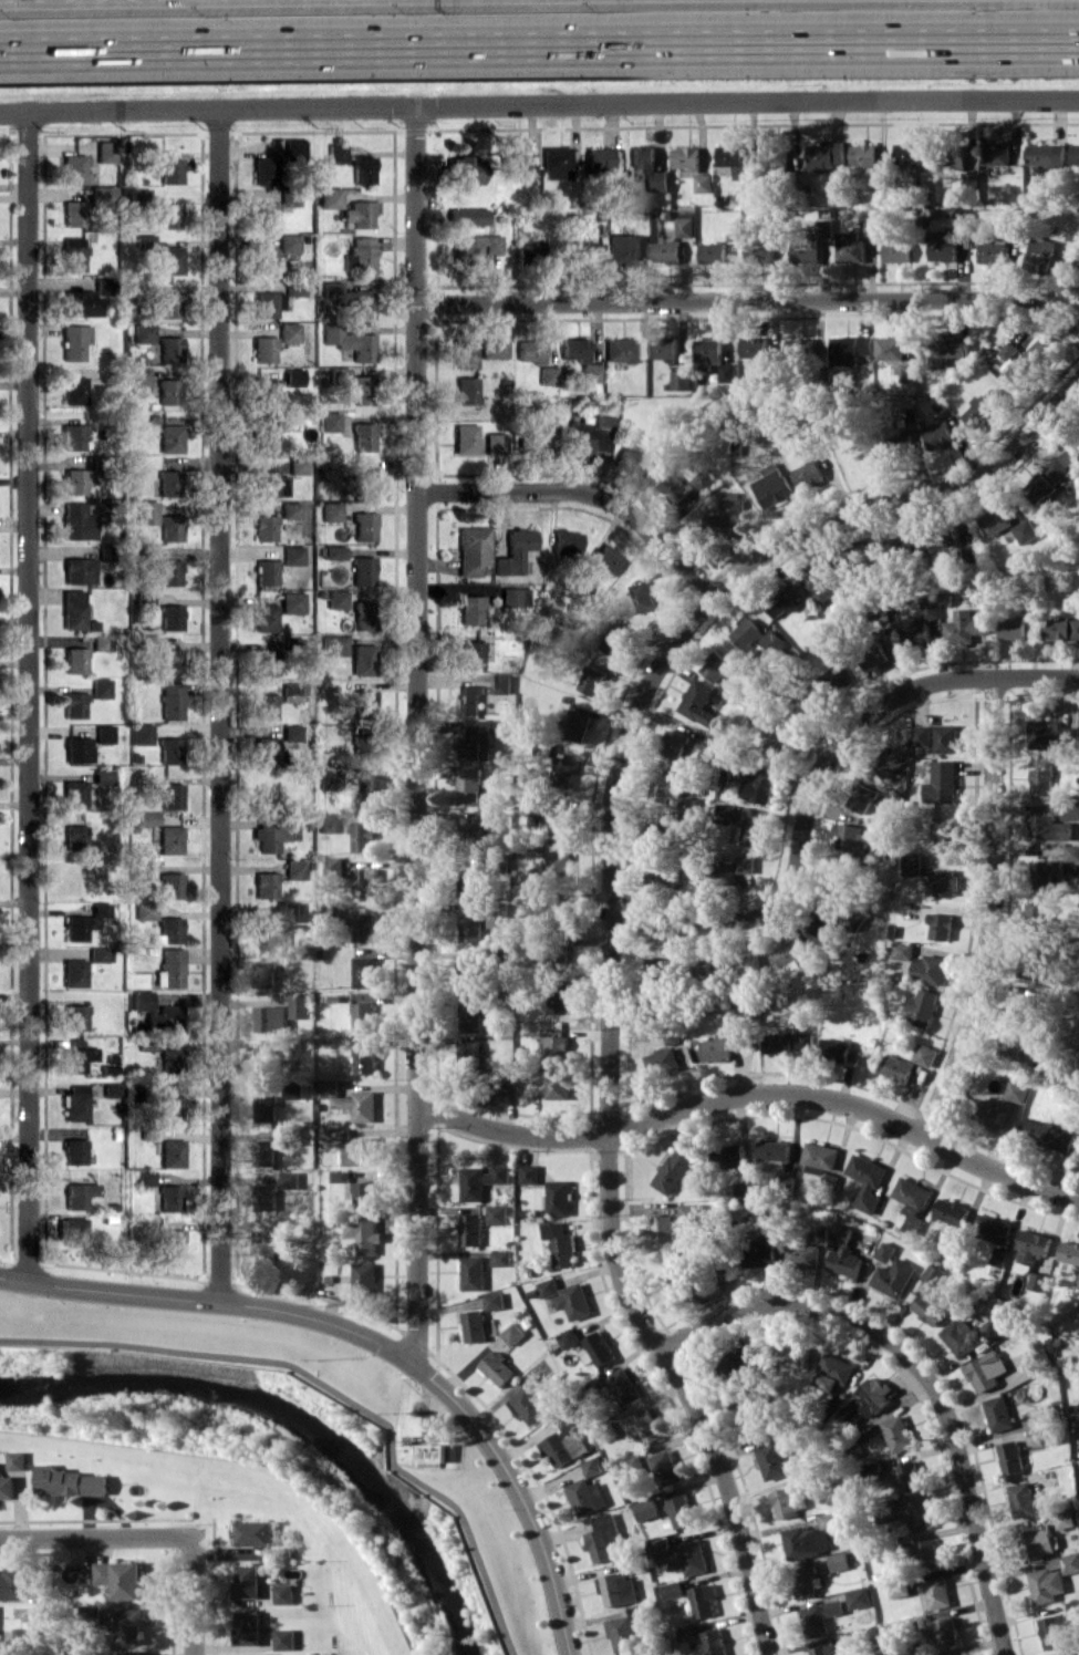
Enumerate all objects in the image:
road: (539, 44)
road: (539, 105)
building: (293, 146)
building: (106, 151)
building: (335, 153)
building: (909, 153)
building: (996, 153)
building: (1046, 154)
building: (1075, 154)
building: (826, 155)
building: (864, 155)
building: (686, 157)
building: (598, 158)
building: (516, 161)
building: (554, 162)
building: (732, 162)
building: (649, 167)
building: (73, 168)
building: (170, 169)
building: (362, 169)
building: (463, 169)
building: (263, 170)
building: (926, 180)
building: (749, 182)
building: (880, 182)
building: (703, 183)
building: (101, 195)
building: (329, 197)
building: (289, 198)
building: (74, 213)
building: (363, 213)
building: (266, 214)
building: (167, 215)
building: (466, 215)
building: (962, 221)
building: (685, 224)
building: (777, 224)
building: (870, 226)
building: (824, 228)
building: (145, 241)
building: (288, 242)
building: (642, 245)
building: (942, 246)
building: (850, 247)
building: (475, 248)
building: (620, 249)
building: (529, 251)
building: (666, 251)
building: (896, 251)
building: (73, 252)
building: (594, 252)
building: (712, 252)
building: (805, 252)
building: (992, 252)
building: (359, 254)
building: (1040, 254)
building: (169, 259)
building: (264, 259)
building: (101, 285)
building: (350, 298)
road: (748, 299)
building: (81, 302)
building: (166, 303)
building: (268, 303)
building: (288, 331)
building: (143, 332)
building: (74, 341)
building: (350, 341)
building: (864, 344)
building: (663, 346)
building: (754, 346)
building: (169, 348)
building: (492, 348)
building: (799, 348)
building: (889, 348)
building: (263, 349)
building: (618, 349)
building: (947, 349)
building: (529, 350)
building: (843, 350)
building: (1007, 350)
building: (708, 352)
building: (464, 353)
building: (579, 358)
building: (1027, 361)
building: (727, 372)
building: (910, 372)
building: (339, 374)
building: (547, 374)
building: (139, 375)
building: (293, 376)
building: (682, 380)
building: (361, 389)
building: (74, 390)
building: (465, 390)
building: (169, 391)
building: (266, 391)
building: (983, 407)
building: (329, 421)
building: (938, 435)
building: (73, 436)
building: (362, 436)
building: (588, 436)
building: (170, 437)
building: (266, 437)
building: (464, 438)
building: (531, 442)
building: (494, 443)
building: (900, 445)
building: (630, 459)
building: (808, 474)
building: (1049, 476)
building: (75, 480)
building: (361, 480)
building: (168, 483)
building: (271, 483)
building: (772, 486)
building: (676, 489)
road: (580, 492)
road: (901, 497)
building: (289, 509)
building: (146, 511)
building: (330, 511)
building: (726, 514)
building: (76, 520)
building: (995, 520)
building: (363, 526)
building: (169, 527)
building: (264, 527)
building: (1026, 530)
building: (945, 539)
building: (566, 540)
building: (901, 545)
building: (471, 549)
building: (332, 551)
building: (513, 551)
building: (292, 555)
building: (606, 559)
building: (79, 570)
building: (361, 570)
building: (168, 571)
building: (266, 572)
building: (821, 581)
building: (513, 596)
building: (642, 597)
building: (335, 599)
building: (784, 600)
building: (291, 601)
building: (72, 608)
building: (469, 608)
building: (362, 614)
building: (170, 616)
building: (263, 617)
building: (921, 625)
building: (966, 625)
building: (1011, 627)
building: (1061, 629)
building: (747, 633)
building: (615, 640)
building: (101, 641)
building: (772, 642)
building: (332, 644)
building: (470, 653)
building: (874, 658)
building: (75, 659)
building: (362, 659)
building: (169, 661)
building: (266, 661)
building: (716, 666)
building: (837, 675)
building: (592, 680)
building: (501, 683)
building: (100, 687)
building: (292, 691)
road: (24, 695)
building: (170, 700)
building: (469, 700)
building: (363, 703)
building: (699, 703)
building: (73, 704)
road: (218, 705)
building: (264, 705)
building: (764, 717)
building: (577, 725)
building: (290, 732)
building: (102, 733)
building: (139, 733)
building: (1052, 734)
road: (415, 735)
building: (922, 735)
building: (478, 736)
building: (946, 738)
building: (673, 743)
building: (364, 746)
building: (777, 747)
building: (77, 748)
building: (168, 749)
building: (266, 751)
building: (888, 762)
building: (563, 770)
building: (745, 770)
building: (102, 776)
road: (815, 776)
building: (1041, 780)
building: (942, 783)
building: (469, 786)
building: (666, 788)
building: (758, 788)
building: (364, 793)
building: (73, 794)
building: (169, 795)
building: (862, 797)
building: (1070, 810)
building: (724, 813)
building: (145, 818)
building: (326, 821)
building: (562, 821)
building: (470, 827)
building: (1049, 828)
building: (748, 831)
building: (269, 832)
building: (947, 835)
building: (362, 836)
building: (74, 837)
building: (850, 837)
building: (168, 839)
building: (1071, 852)
building: (746, 863)
building: (913, 863)
building: (559, 865)
building: (333, 867)
building: (293, 869)
building: (137, 870)
building: (1047, 870)
building: (663, 873)
building: (725, 873)
building: (469, 881)
building: (946, 881)
building: (365, 882)
building: (169, 885)
building: (264, 885)
building: (562, 907)
building: (144, 910)
building: (330, 911)
road: (992, 913)
building: (1038, 914)
building: (497, 919)
building: (827, 920)
building: (83, 921)
building: (941, 925)
building: (363, 927)
building: (471, 927)
building: (169, 929)
building: (267, 929)
building: (904, 950)
building: (96, 953)
building: (790, 955)
building: (749, 963)
building: (168, 968)
building: (704, 968)
building: (931, 969)
building: (364, 971)
building: (468, 971)
building: (73, 972)
building: (266, 974)
building: (559, 1001)
building: (300, 1005)
building: (922, 1007)
building: (157, 1013)
building: (75, 1016)
building: (363, 1016)
building: (470, 1017)
building: (272, 1018)
building: (745, 1042)
building: (788, 1043)
building: (1014, 1044)
building: (557, 1048)
building: (717, 1048)
building: (837, 1049)
building: (76, 1055)
building: (925, 1055)
building: (470, 1057)
building: (170, 1059)
building: (263, 1059)
building: (365, 1059)
building: (662, 1059)
building: (898, 1067)
building: (558, 1083)
building: (111, 1089)
building: (294, 1089)
building: (1018, 1090)
building: (501, 1092)
road: (753, 1093)
building: (75, 1101)
building: (352, 1101)
building: (167, 1106)
building: (267, 1108)
building: (993, 1111)
road: (611, 1127)
building: (335, 1131)
building: (148, 1132)
building: (289, 1135)
building: (1047, 1135)
building: (73, 1151)
building: (359, 1151)
building: (170, 1152)
building: (266, 1152)
building: (775, 1154)
building: (734, 1155)
building: (820, 1158)
building: (673, 1169)
building: (529, 1173)
building: (340, 1176)
building: (144, 1177)
building: (290, 1180)
building: (481, 1180)
building: (868, 1181)
building: (79, 1193)
building: (363, 1193)
building: (168, 1197)
building: (267, 1197)
building: (559, 1198)
building: (913, 1200)
building: (952, 1212)
building: (691, 1213)
building: (498, 1214)
building: (993, 1228)
building: (471, 1229)
building: (72, 1231)
building: (663, 1231)
building: (819, 1232)
building: (842, 1234)
building: (361, 1235)
building: (172, 1241)
building: (561, 1243)
building: (1033, 1245)
building: (264, 1248)
building: (762, 1248)
building: (886, 1251)
building: (1070, 1252)
building: (802, 1254)
building: (1000, 1256)
building: (501, 1258)
building: (845, 1261)
building: (676, 1270)
building: (473, 1273)
building: (364, 1274)
building: (934, 1274)
building: (894, 1278)
building: (1038, 1282)
building: (1078, 1285)
building: (549, 1287)
building: (495, 1301)
building: (574, 1301)
building: (933, 1304)
building: (475, 1325)
building: (994, 1327)
building: (513, 1333)
building: (569, 1337)
building: (961, 1337)
road: (377, 1339)
building: (598, 1349)
building: (792, 1356)
building: (748, 1359)
building: (498, 1368)
building: (985, 1369)
building: (834, 1373)
road: (923, 1373)
building: (623, 1387)
road: (334, 1389)
building: (870, 1398)
building: (529, 1406)
building: (998, 1413)
building: (754, 1415)
river: (293, 1421)
building: (646, 1426)
building: (1078, 1427)
building: (898, 1434)
building: (564, 1447)
building: (427, 1452)
building: (1010, 1457)
building: (776, 1458)
building: (18, 1460)
building: (592, 1466)
building: (634, 1466)
building: (666, 1468)
building: (905, 1475)
building: (70, 1481)
building: (8, 1487)
building: (588, 1496)
building: (1023, 1499)
building: (788, 1501)
building: (649, 1509)
building: (682, 1510)
building: (911, 1513)
building: (832, 1519)
building: (1065, 1519)
building: (253, 1532)
road: (96, 1538)
building: (605, 1538)
building: (806, 1541)
building: (1037, 1542)
building: (926, 1553)
building: (683, 1554)
building: (839, 1561)
building: (69, 1573)
building: (120, 1578)
building: (1052, 1578)
building: (247, 1581)
building: (806, 1582)
building: (13, 1583)
building: (620, 1589)
building: (674, 1589)
building: (937, 1592)
building: (283, 1593)
road: (193, 1595)
building: (859, 1597)
building: (704, 1600)
building: (1073, 1605)
building: (834, 1607)
building: (816, 1620)
building: (129, 1626)
building: (247, 1627)
building: (945, 1631)
building: (1054, 1631)
building: (688, 1633)
building: (25, 1634)
building: (623, 1634)
building: (284, 1638)
building: (715, 1642)
building: (823, 1649)
building: (128, 1652)
building: (1065, 1653)
building: (0, 1654)
building: (291, 1654)
building: (961, 1654)

